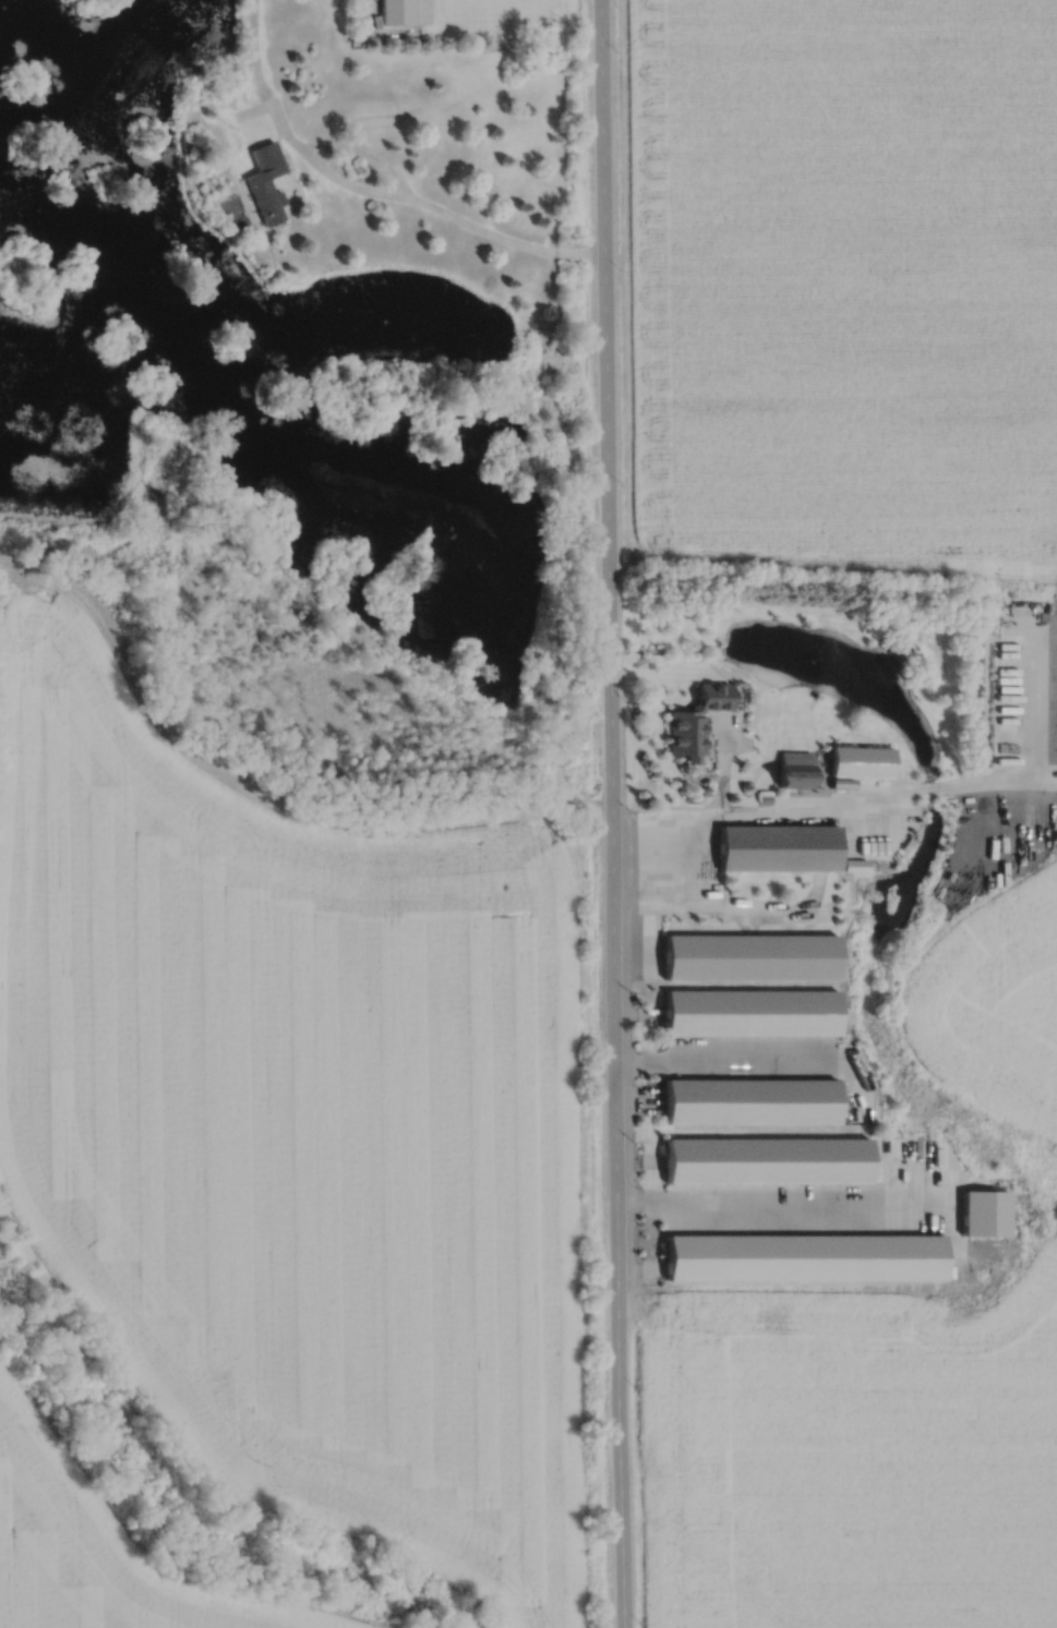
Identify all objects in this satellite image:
road: (364, 12)
building: (395, 12)
road: (253, 49)
road: (361, 153)
building: (265, 180)
road: (419, 200)
crop: (848, 284)
road: (317, 606)
building: (694, 722)
building: (858, 762)
road: (722, 765)
building: (792, 771)
road: (894, 796)
building: (764, 799)
road: (609, 813)
building: (568, 825)
building: (774, 848)
building: (853, 866)
road: (745, 906)
building: (749, 955)
crop: (995, 976)
building: (749, 1011)
road: (730, 1061)
building: (749, 1100)
crop: (298, 1126)
building: (765, 1160)
road: (783, 1205)
building: (984, 1213)
building: (803, 1257)
crop: (858, 1473)
crop: (100, 1551)

